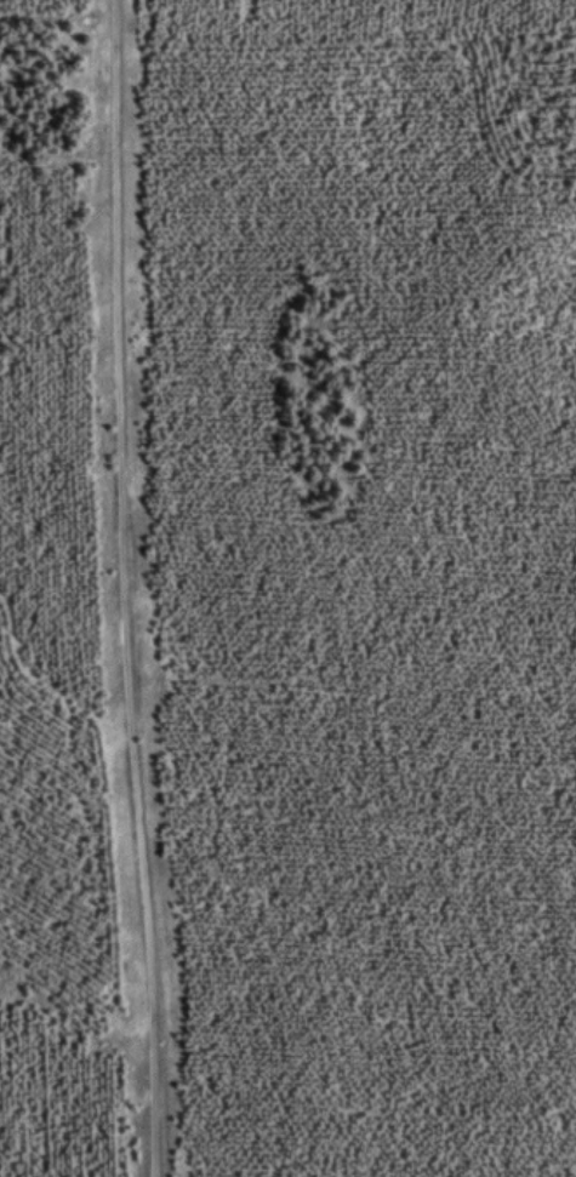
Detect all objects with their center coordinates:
road: (125, 588)

